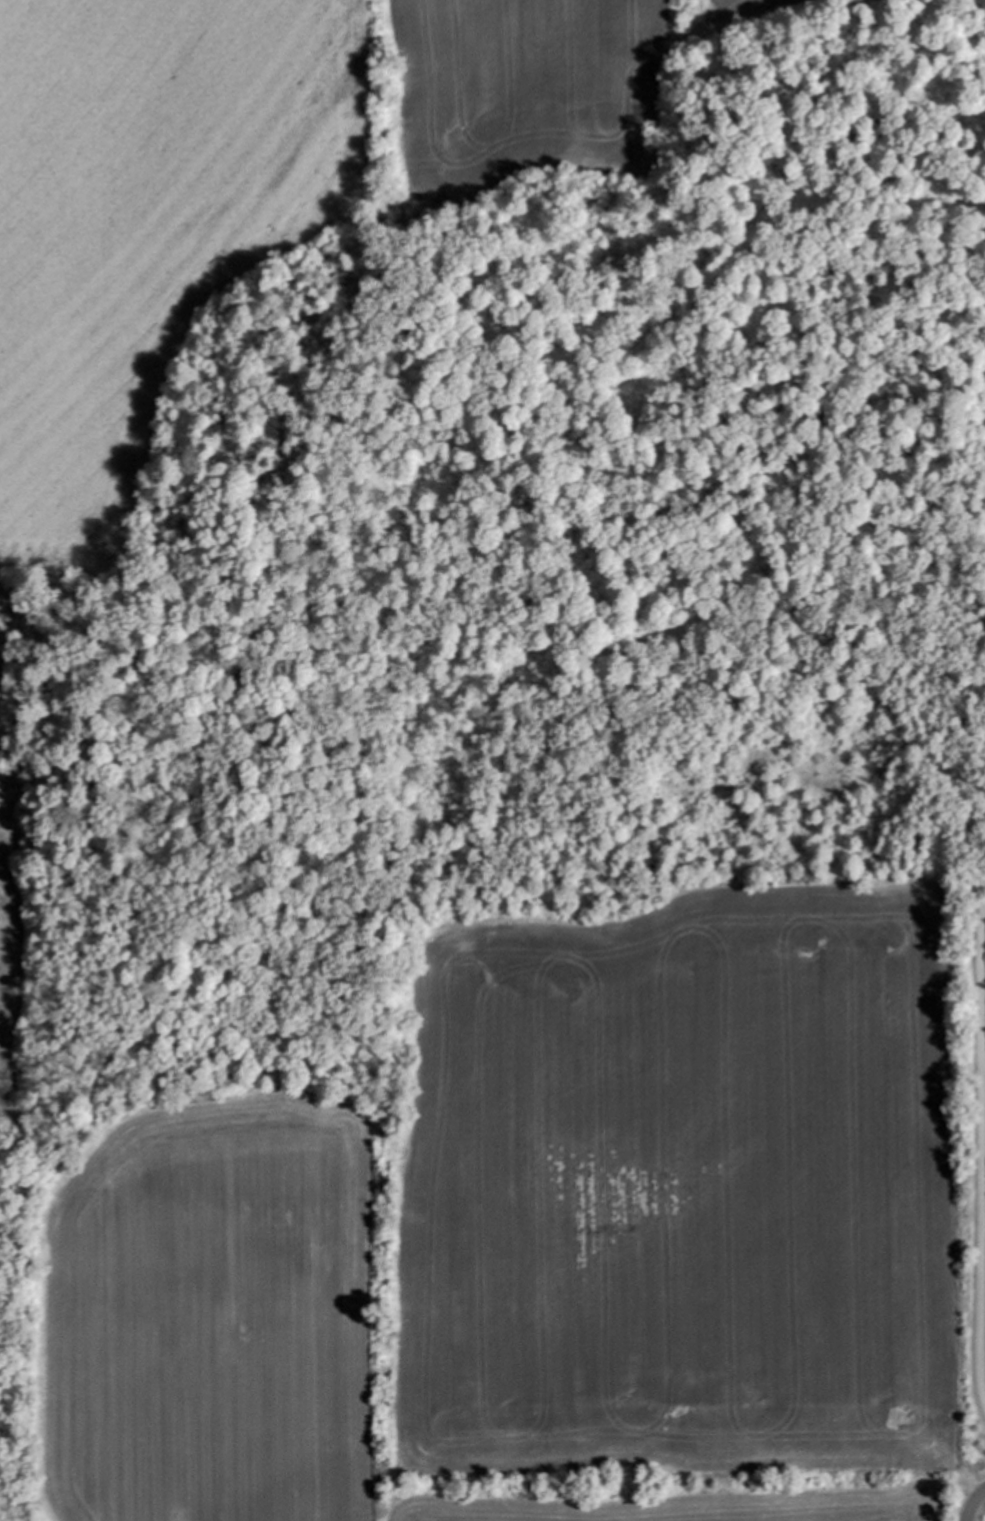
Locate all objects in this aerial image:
road: (982, 1157)
road: (973, 1503)

